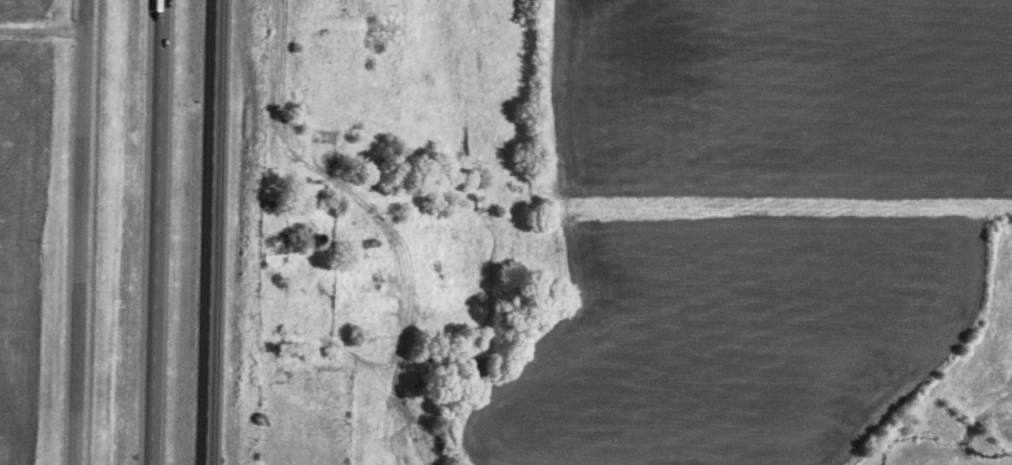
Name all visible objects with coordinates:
road: (44, 34)
road: (83, 232)
road: (158, 232)
road: (211, 232)

